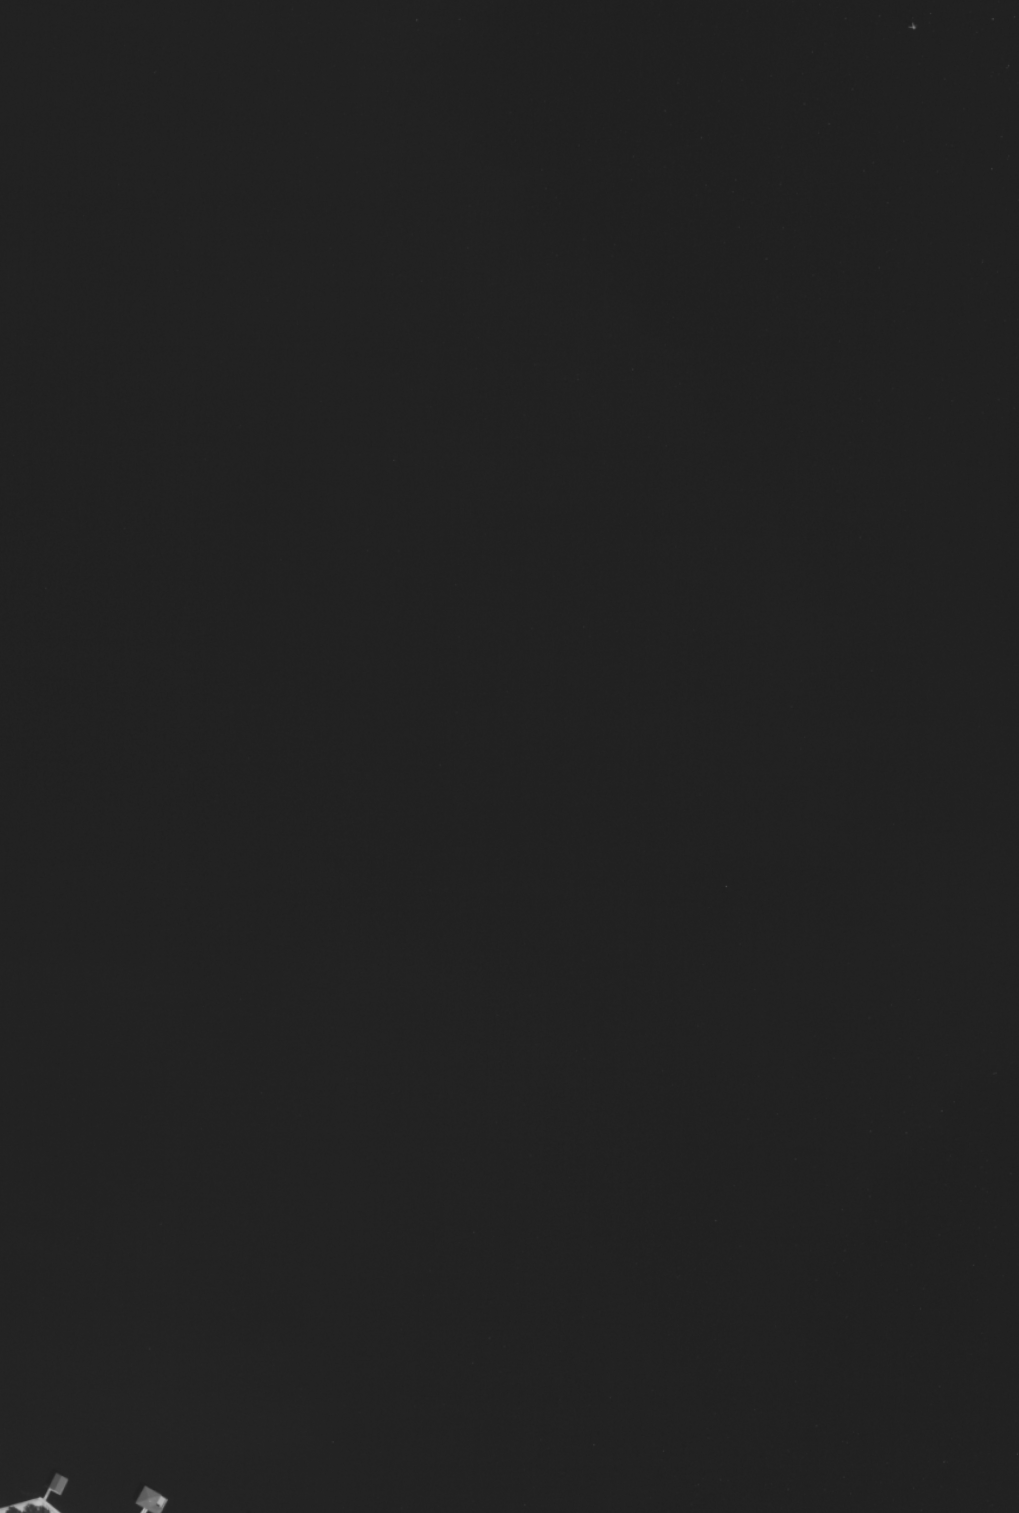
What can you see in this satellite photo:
building: (152, 1500)

